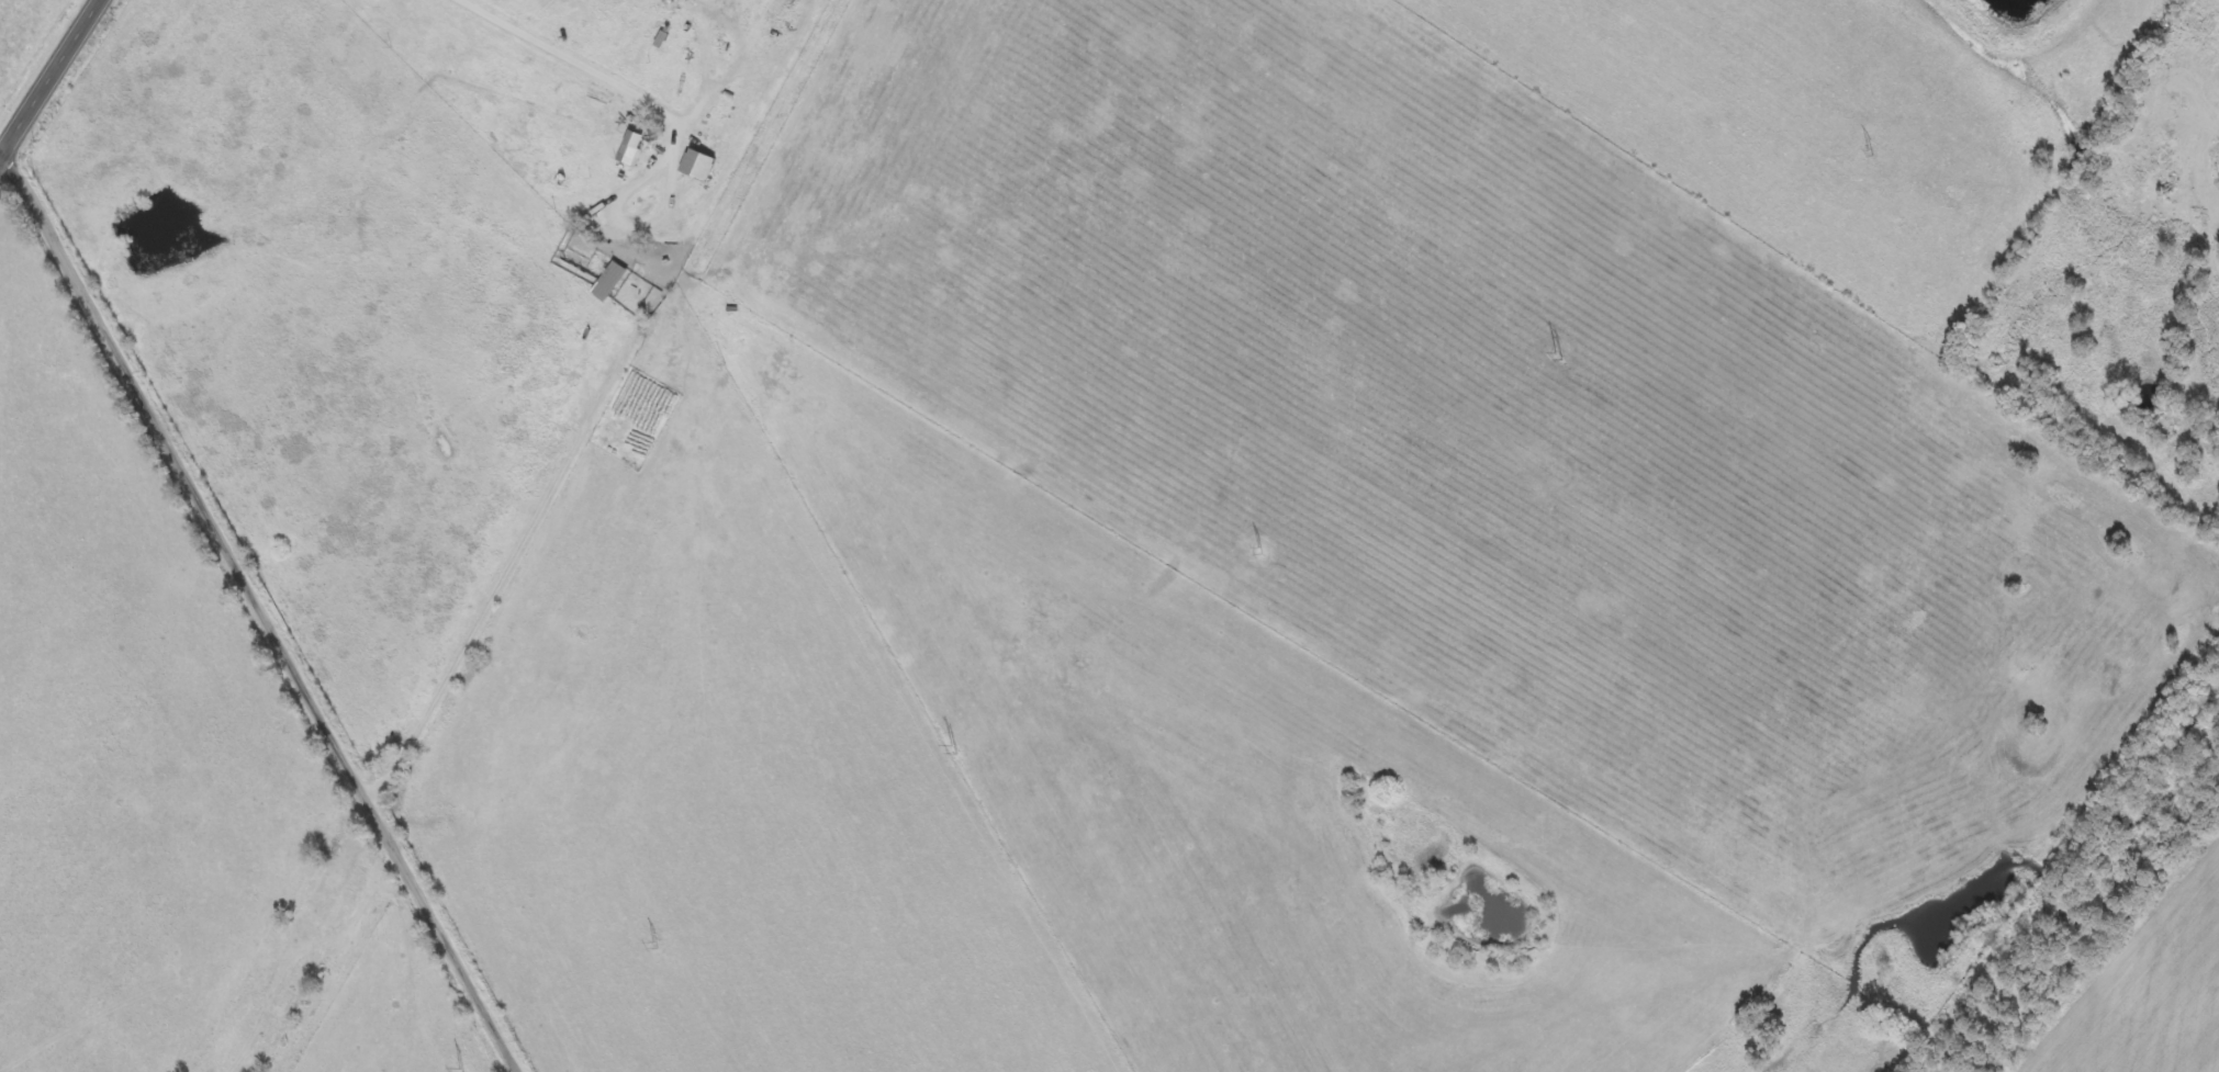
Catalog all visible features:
road: (53, 81)
building: (631, 150)
power tower: (1868, 153)
building: (701, 166)
power tower: (1555, 357)
railway: (538, 538)
power tower: (1258, 551)
road: (266, 611)
power tower: (951, 751)
power tower: (653, 945)
power tower: (459, 1071)

